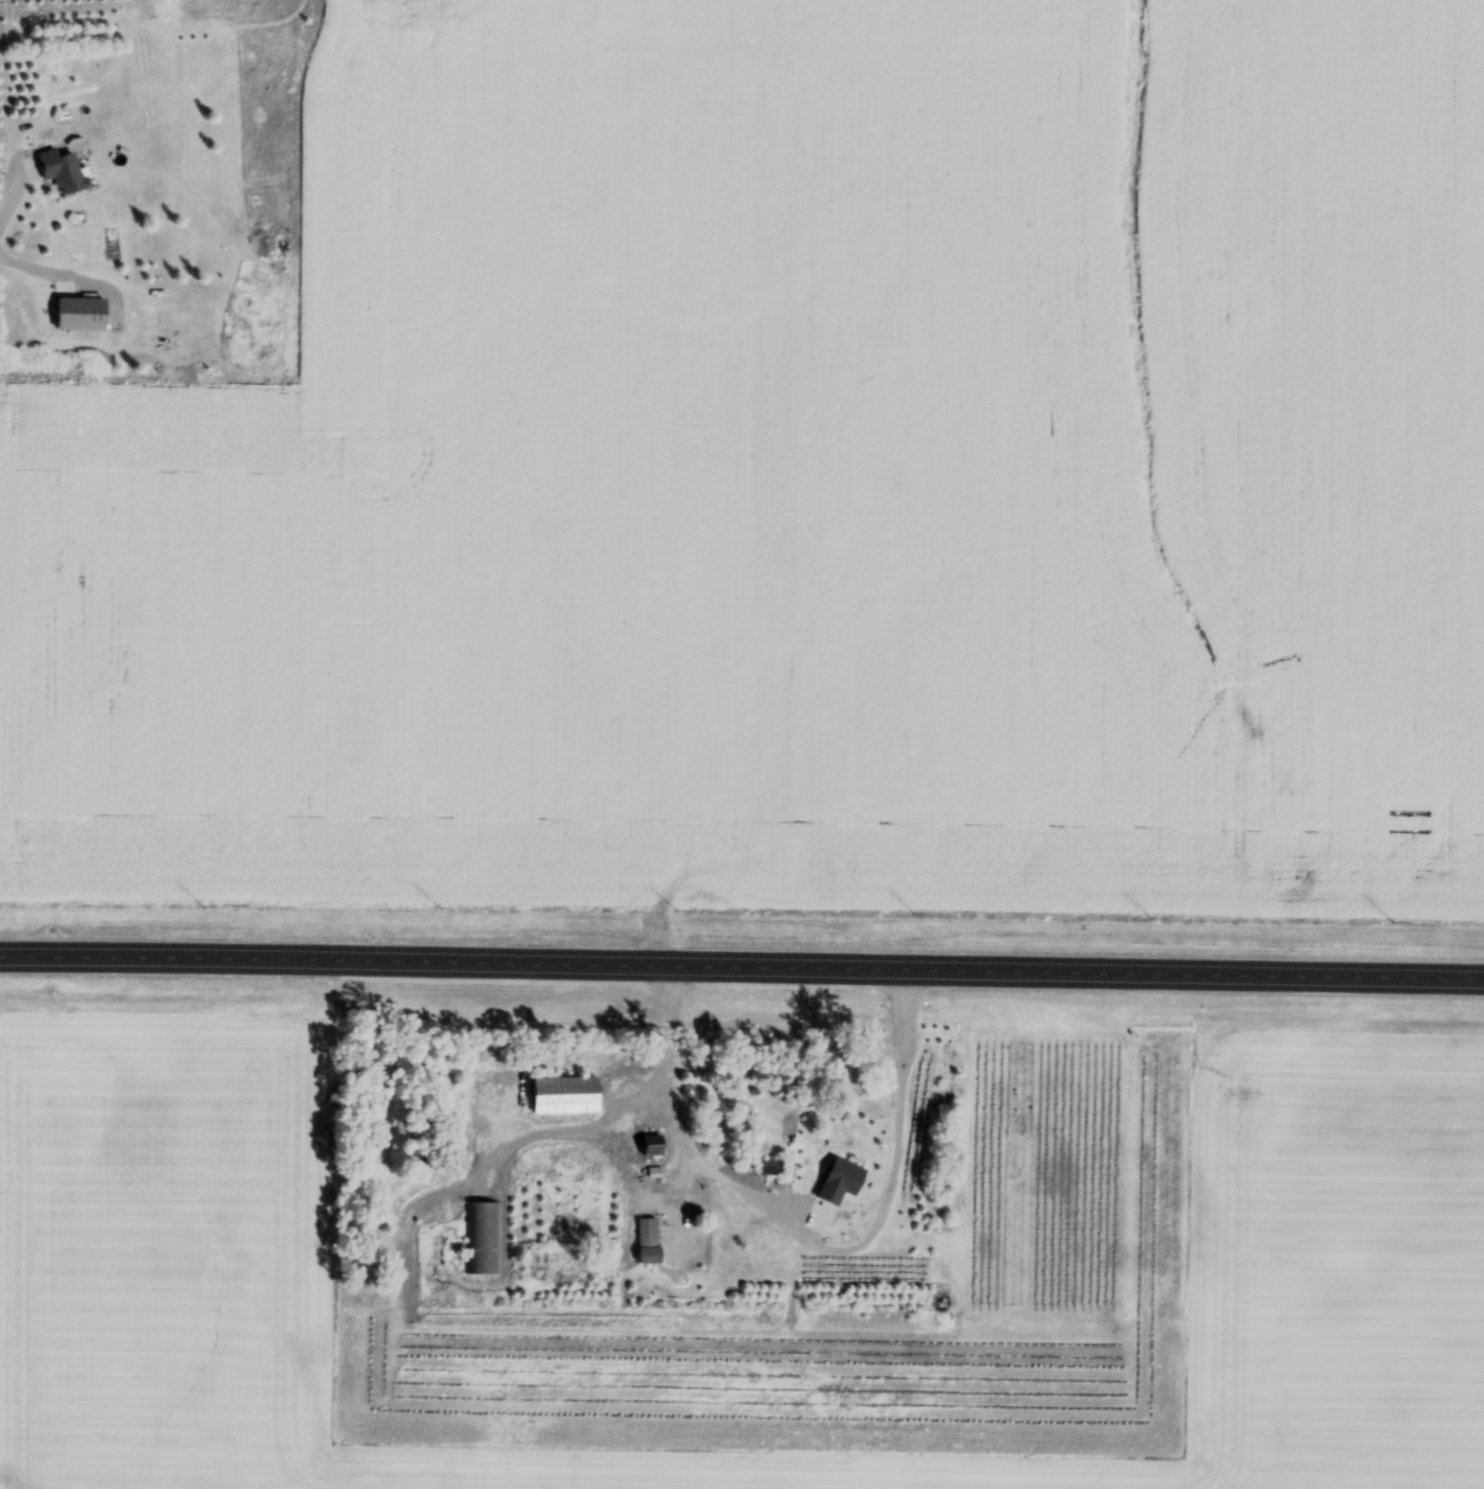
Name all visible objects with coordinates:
building: (63, 171)
road: (8, 201)
building: (81, 314)
road: (742, 966)
building: (564, 1097)
building: (652, 1147)
building: (842, 1151)
building: (771, 1168)
road: (799, 1208)
building: (481, 1239)
building: (649, 1256)

